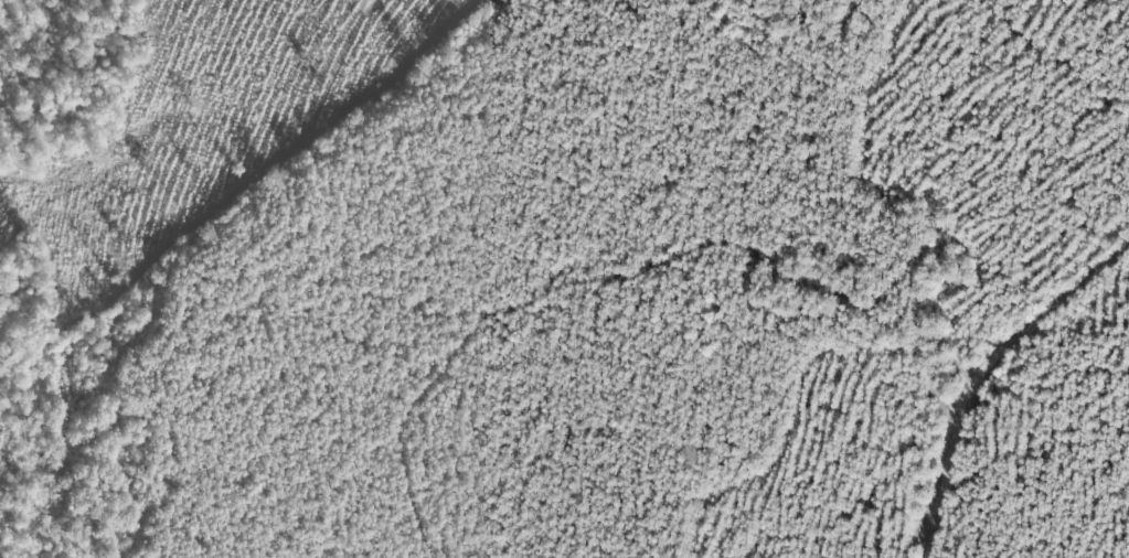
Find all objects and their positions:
road: (1013, 371)

